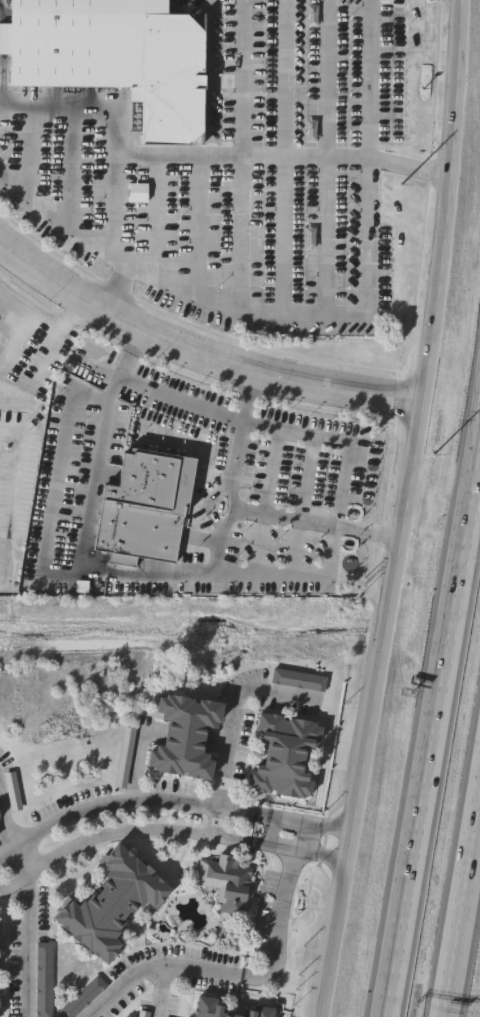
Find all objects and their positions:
building: (118, 57)
road: (365, 78)
road: (110, 143)
road: (25, 151)
road: (282, 154)
road: (323, 154)
road: (254, 157)
road: (69, 168)
road: (436, 174)
power tower: (399, 201)
road: (113, 207)
road: (152, 217)
road: (65, 223)
road: (195, 226)
road: (364, 294)
road: (113, 295)
road: (239, 295)
road: (132, 338)
road: (198, 351)
road: (248, 381)
road: (177, 400)
power tower: (432, 450)
road: (16, 468)
road: (232, 507)
building: (150, 509)
road: (403, 510)
road: (371, 531)
road: (83, 555)
building: (299, 681)
road: (230, 722)
road: (433, 734)
building: (188, 735)
building: (287, 755)
building: (9, 792)
road: (122, 801)
road: (303, 822)
road: (165, 829)
building: (228, 884)
building: (115, 903)
road: (277, 909)
road: (25, 915)
road: (463, 917)
building: (2, 953)
road: (153, 968)
building: (45, 979)
road: (156, 992)
building: (79, 998)
building: (2, 1003)
building: (212, 1007)

